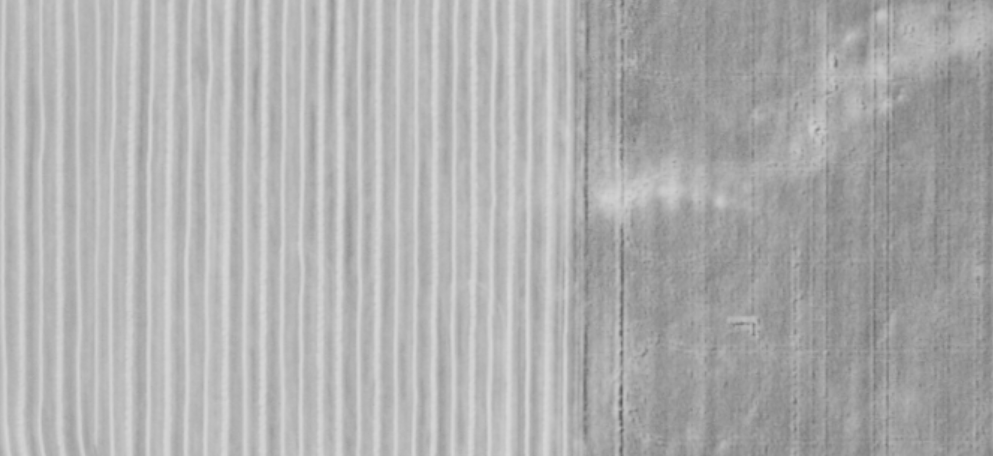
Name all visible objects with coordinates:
road: (581, 228)

